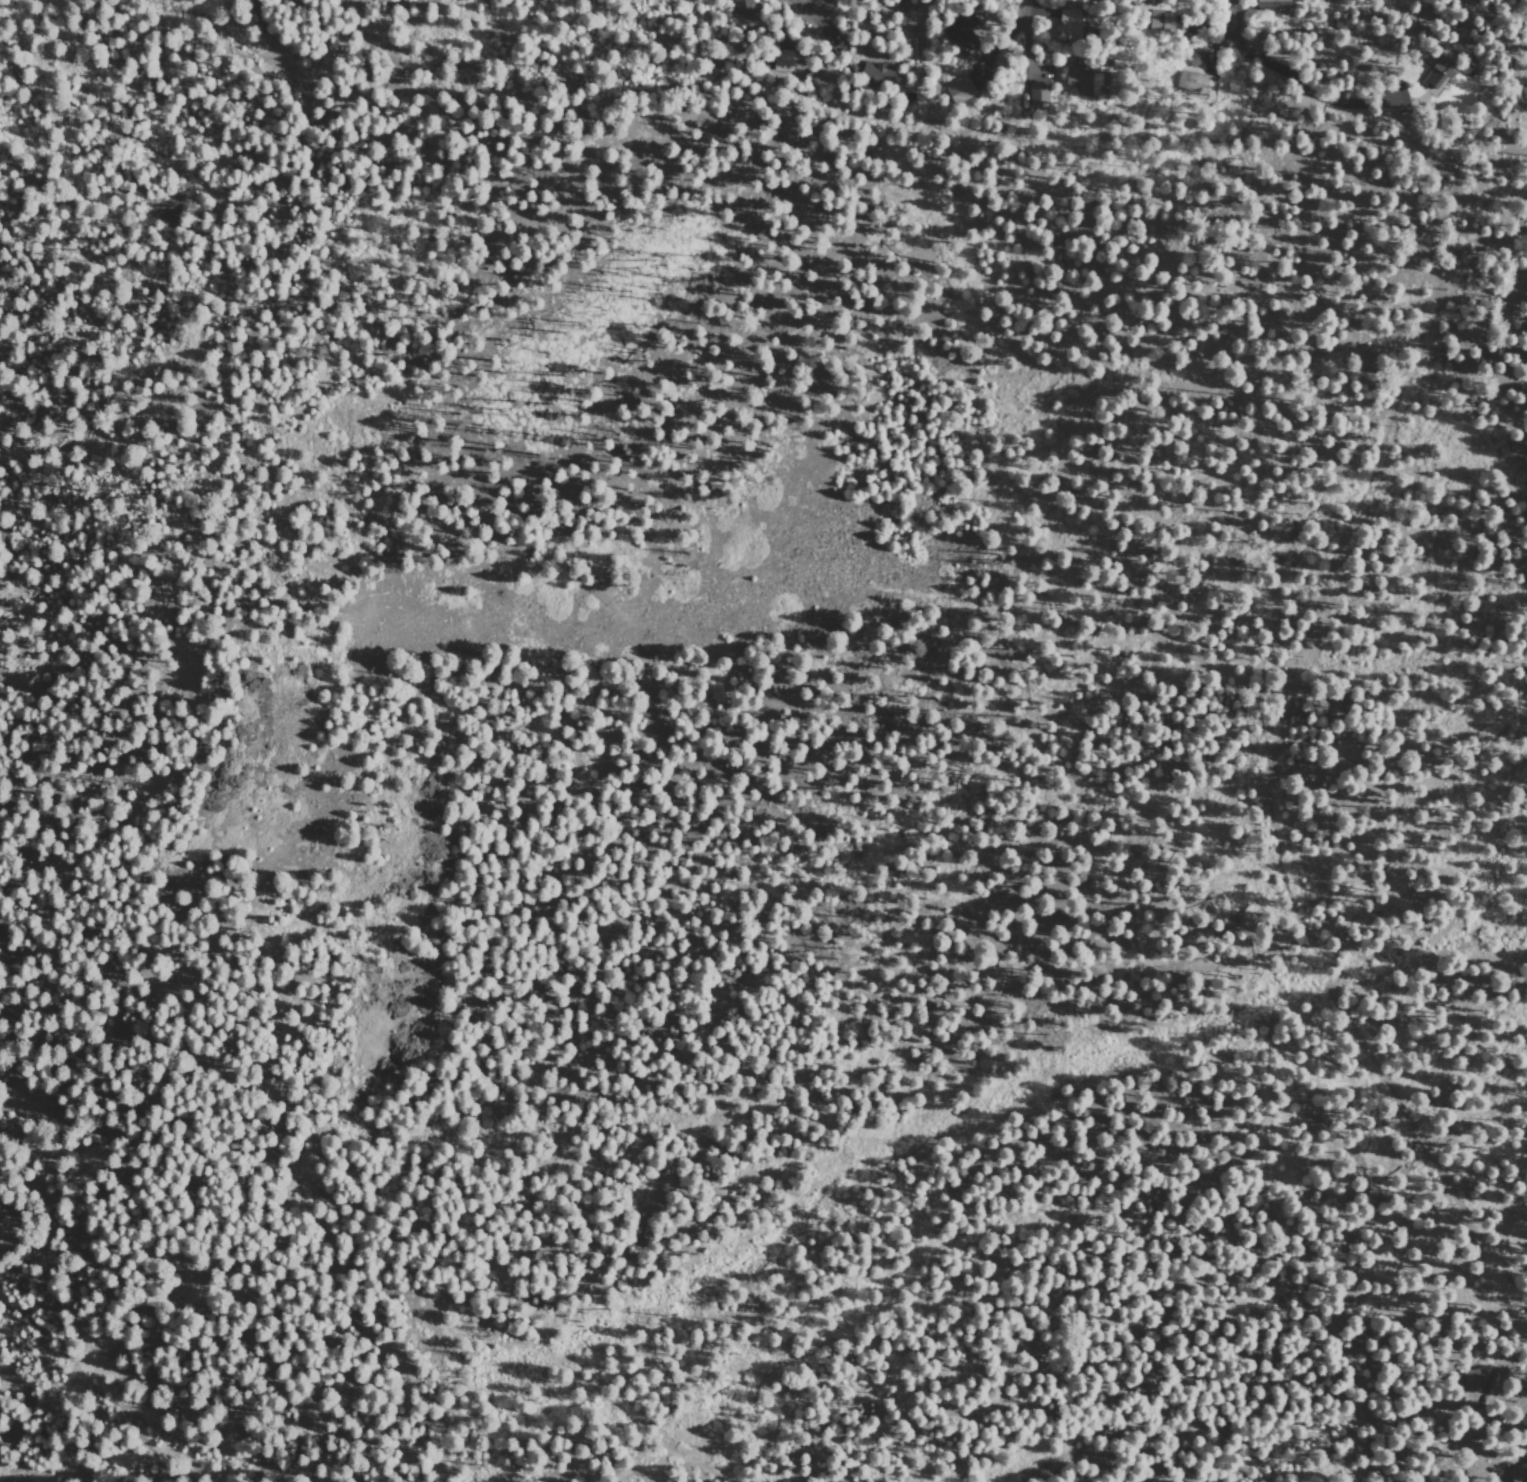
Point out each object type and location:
road: (820, 5)
building: (744, 6)
road: (1023, 6)
building: (1271, 6)
road: (799, 8)
building: (1161, 20)
building: (1067, 21)
road: (1226, 22)
building: (962, 35)
road: (231, 40)
road: (493, 53)
building: (782, 58)
building: (1195, 58)
building: (876, 71)
building: (1438, 73)
building: (1084, 80)
building: (1188, 81)
building: (960, 90)
building: (1038, 94)
road: (1267, 794)
road: (380, 1212)
road: (62, 1379)
building: (1471, 1380)
road: (139, 1447)
road: (211, 1448)
building: (1526, 1458)
building: (1519, 1473)

